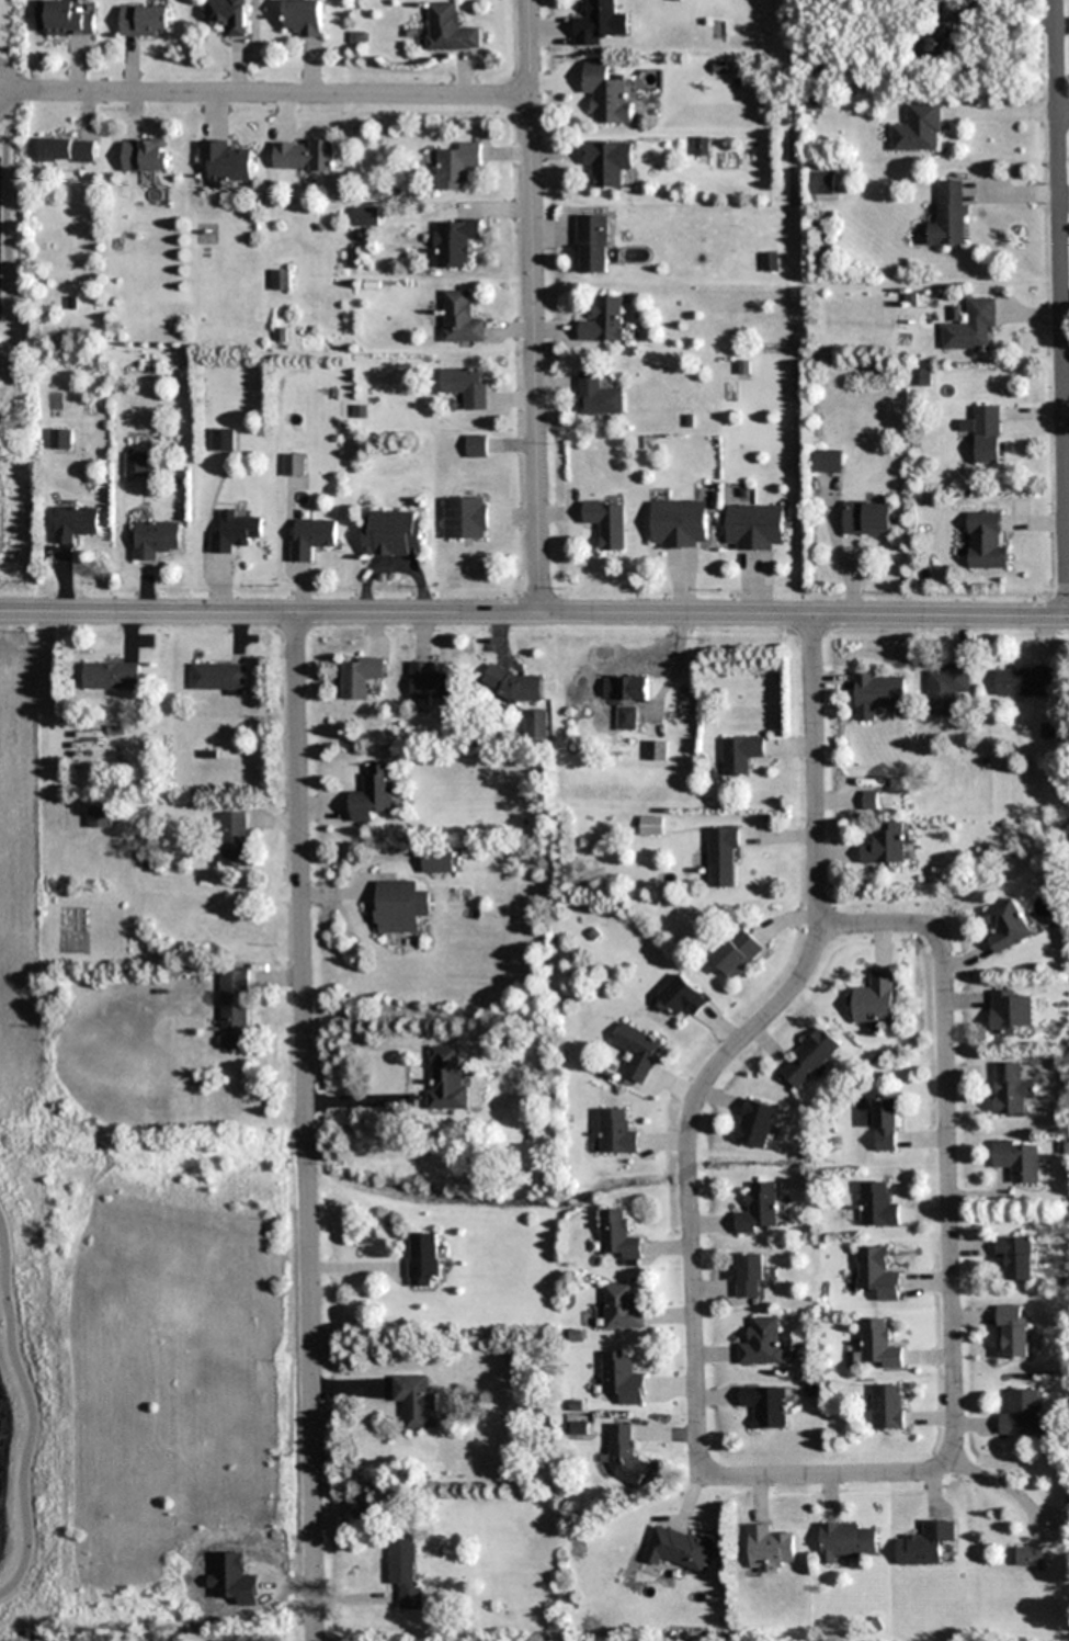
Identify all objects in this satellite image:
building: (228, 15)
building: (304, 16)
building: (65, 19)
building: (146, 21)
building: (598, 23)
building: (448, 29)
road: (264, 94)
building: (607, 94)
road: (1062, 115)
building: (920, 128)
building: (702, 146)
building: (68, 150)
building: (146, 155)
building: (305, 155)
building: (227, 161)
building: (609, 161)
building: (458, 167)
park: (9, 183)
building: (821, 184)
parking lot: (0, 207)
building: (949, 216)
building: (456, 242)
building: (593, 244)
building: (770, 261)
building: (282, 280)
road: (533, 307)
road: (1060, 308)
building: (462, 318)
building: (605, 320)
building: (970, 325)
building: (920, 377)
building: (466, 386)
building: (599, 396)
building: (983, 433)
building: (61, 439)
building: (223, 440)
building: (477, 446)
building: (826, 463)
building: (136, 464)
building: (294, 465)
building: (466, 518)
building: (867, 520)
building: (75, 523)
building: (609, 523)
building: (680, 524)
building: (754, 528)
building: (236, 532)
building: (394, 533)
building: (311, 537)
building: (155, 539)
building: (986, 543)
road: (534, 614)
building: (112, 677)
building: (361, 677)
building: (219, 678)
building: (1025, 681)
building: (433, 683)
building: (516, 686)
building: (633, 688)
building: (947, 688)
building: (879, 692)
building: (626, 718)
building: (537, 725)
building: (656, 750)
building: (740, 754)
road: (814, 769)
building: (374, 794)
building: (100, 816)
building: (651, 826)
building: (235, 839)
building: (886, 845)
building: (724, 857)
building: (440, 861)
building: (400, 907)
building: (1009, 926)
building: (738, 952)
building: (683, 997)
building: (874, 1000)
building: (236, 1009)
building: (1011, 1011)
building: (639, 1051)
building: (810, 1057)
building: (448, 1078)
building: (1012, 1088)
building: (757, 1123)
building: (886, 1124)
road: (304, 1128)
road: (947, 1129)
building: (617, 1133)
building: (1017, 1161)
road: (687, 1179)
building: (878, 1204)
building: (760, 1209)
building: (617, 1235)
building: (423, 1258)
building: (1015, 1258)
building: (877, 1274)
building: (751, 1276)
building: (622, 1308)
building: (1013, 1333)
building: (762, 1343)
building: (879, 1345)
building: (622, 1378)
building: (413, 1401)
building: (766, 1406)
building: (888, 1406)
building: (1022, 1414)
building: (623, 1455)
road: (833, 1479)
building: (845, 1541)
building: (925, 1543)
building: (676, 1548)
building: (770, 1550)
building: (1030, 1557)
building: (405, 1570)
crop: (27, 1637)

